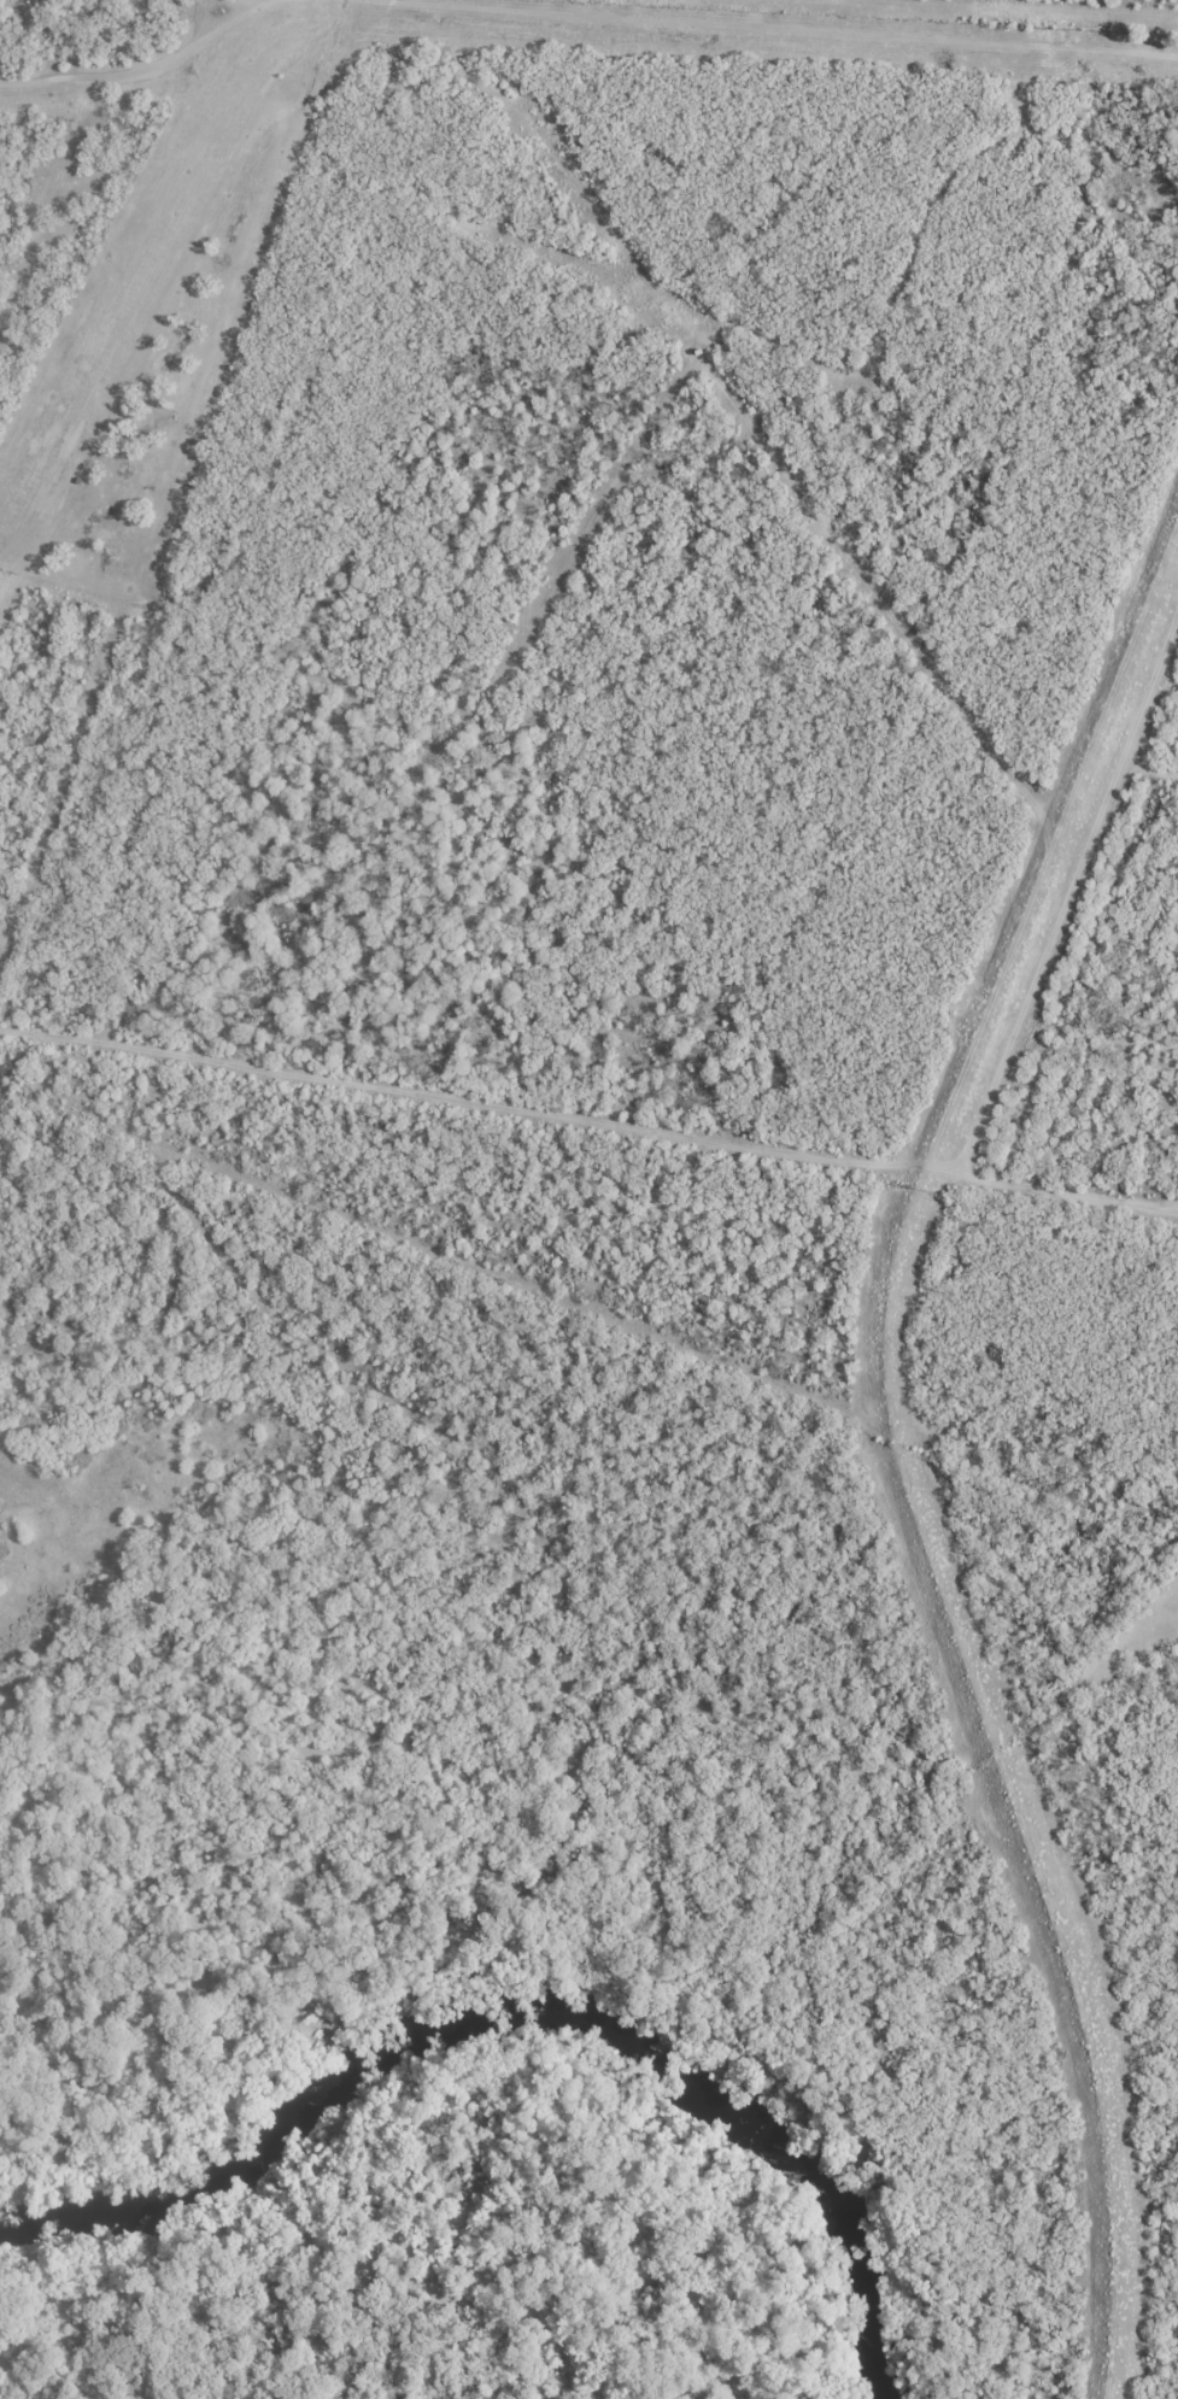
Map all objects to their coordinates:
river: (533, 2020)

